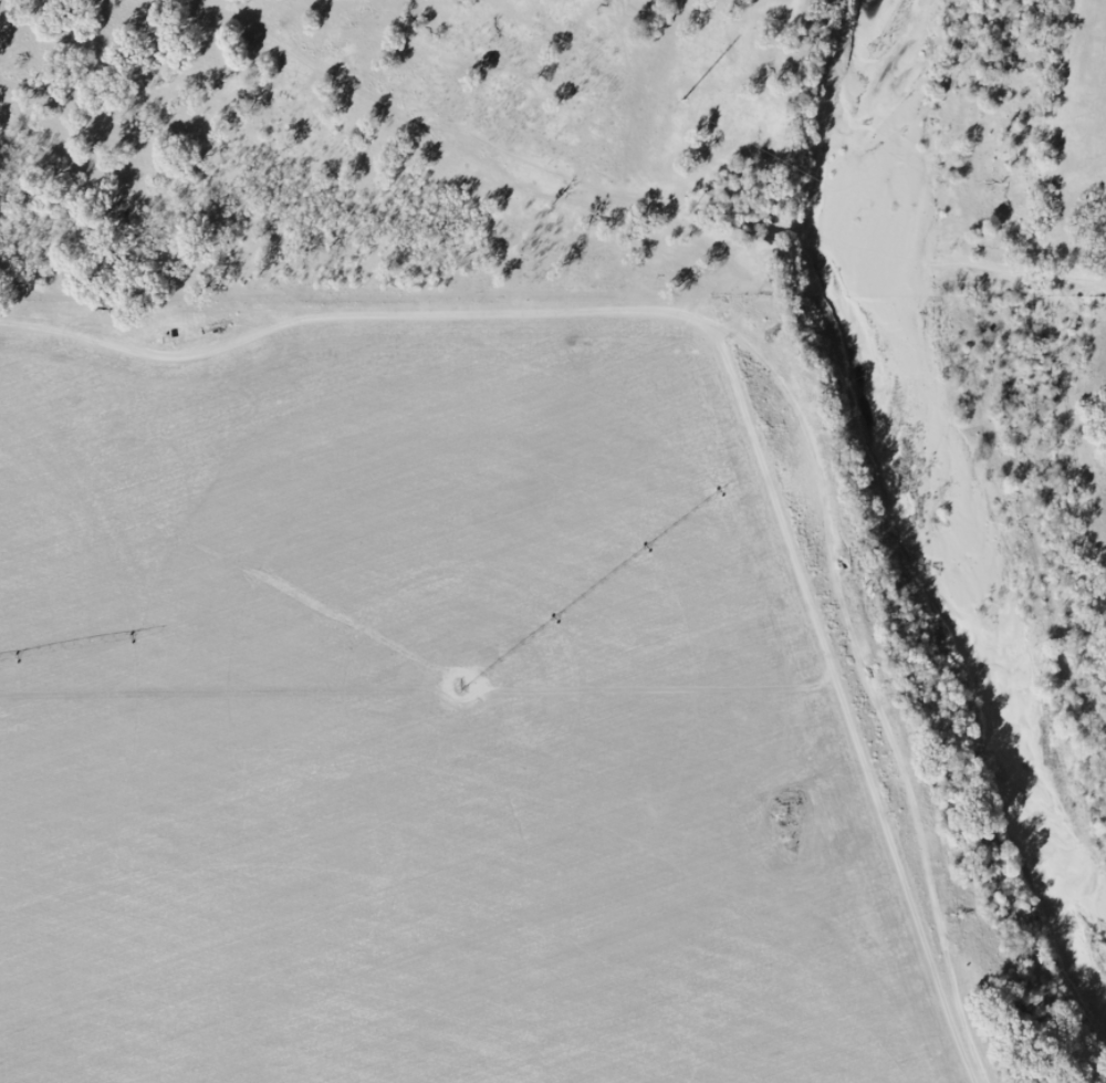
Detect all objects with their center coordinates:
power tower: (684, 100)

